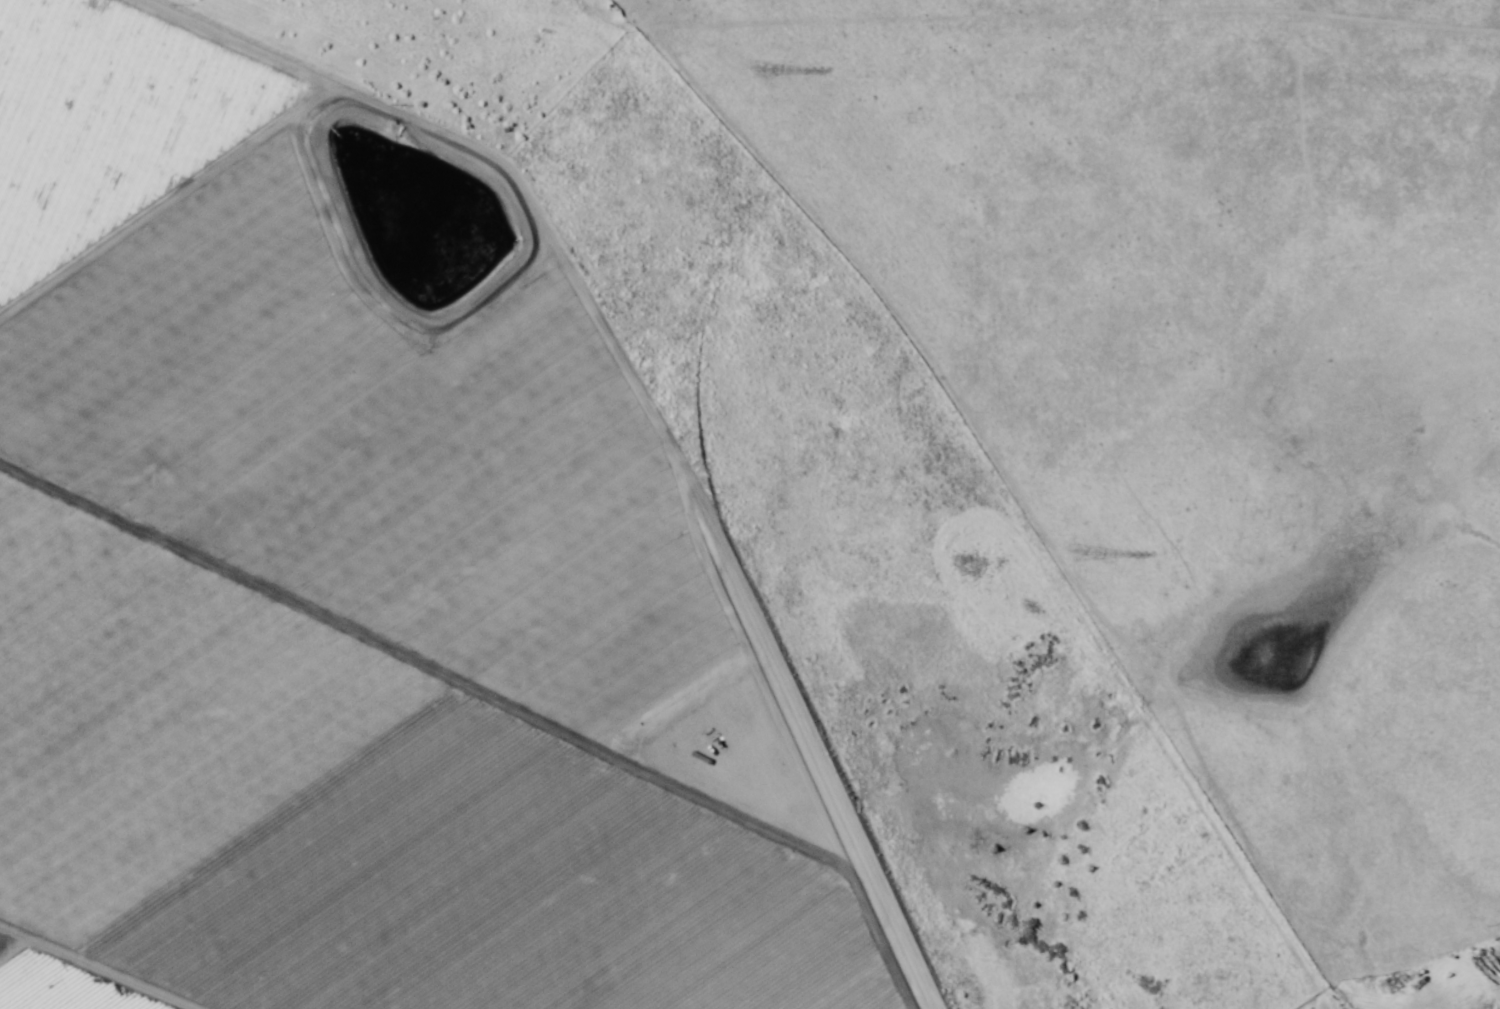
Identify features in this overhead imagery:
road: (646, 56)
power tower: (754, 68)
road: (394, 124)
power tower: (1077, 553)
crop: (357, 607)
road: (60, 982)

